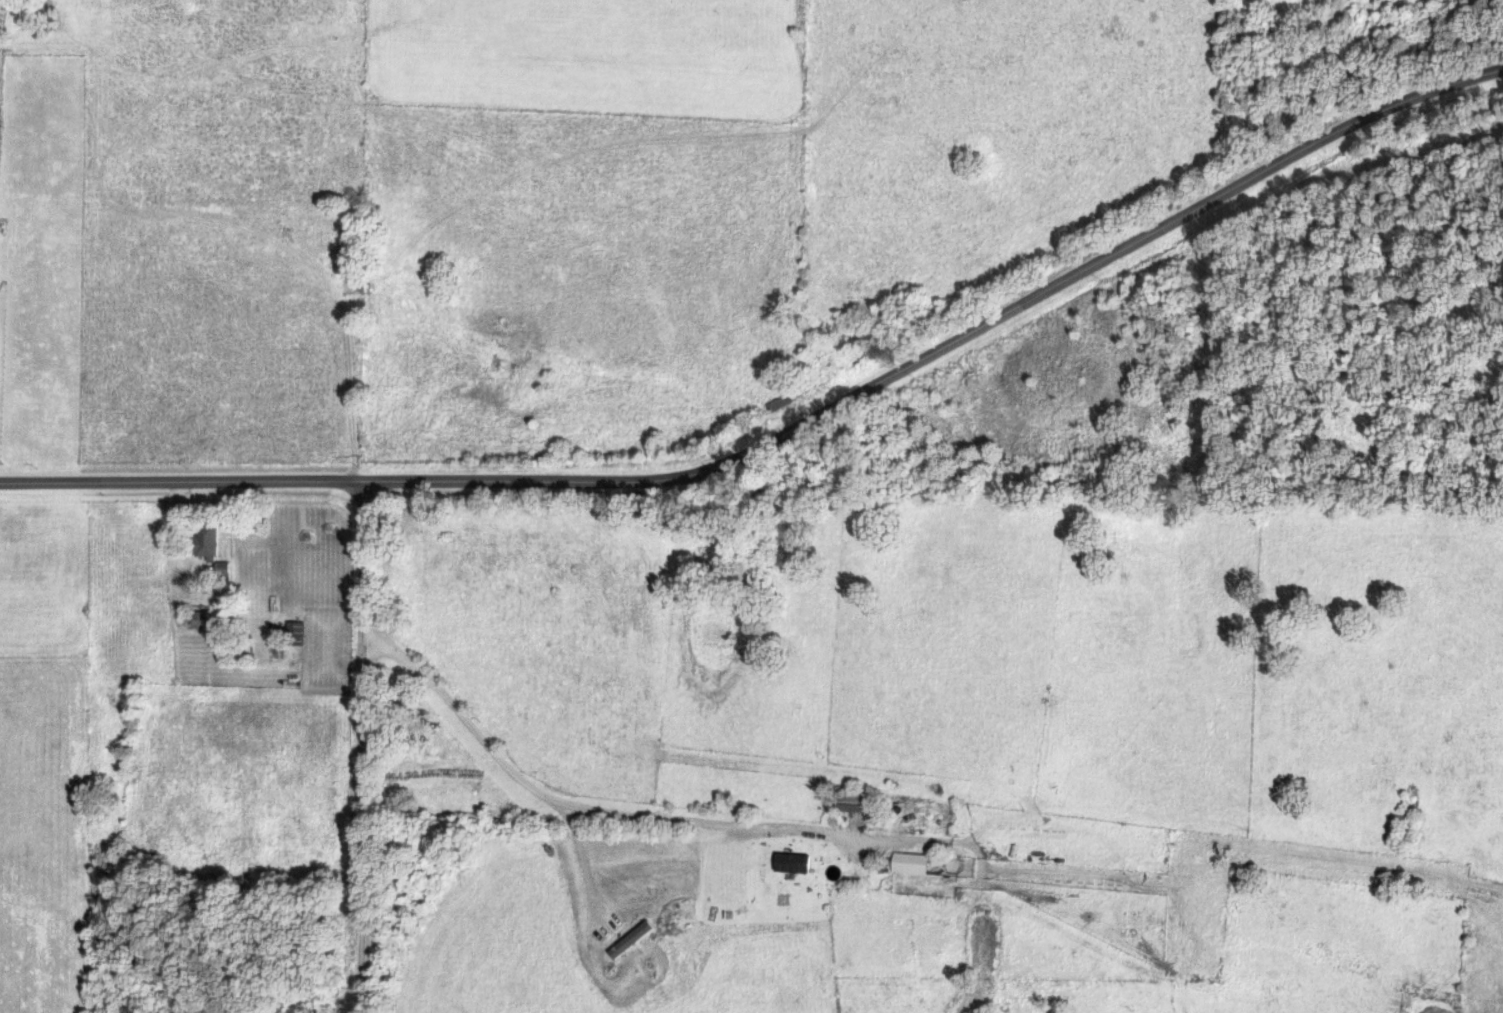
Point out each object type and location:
building: (351, 259)
building: (781, 402)
road: (790, 429)
road: (175, 536)
building: (212, 541)
building: (227, 569)
building: (203, 619)
building: (290, 633)
road: (362, 747)
building: (861, 800)
road: (631, 814)
building: (796, 861)
building: (914, 862)
building: (635, 938)

